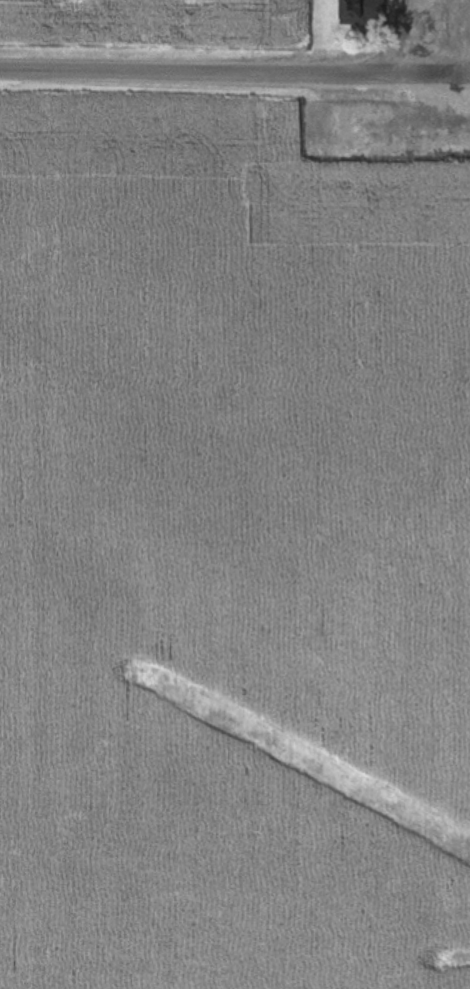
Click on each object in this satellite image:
building: (362, 11)
road: (232, 76)

